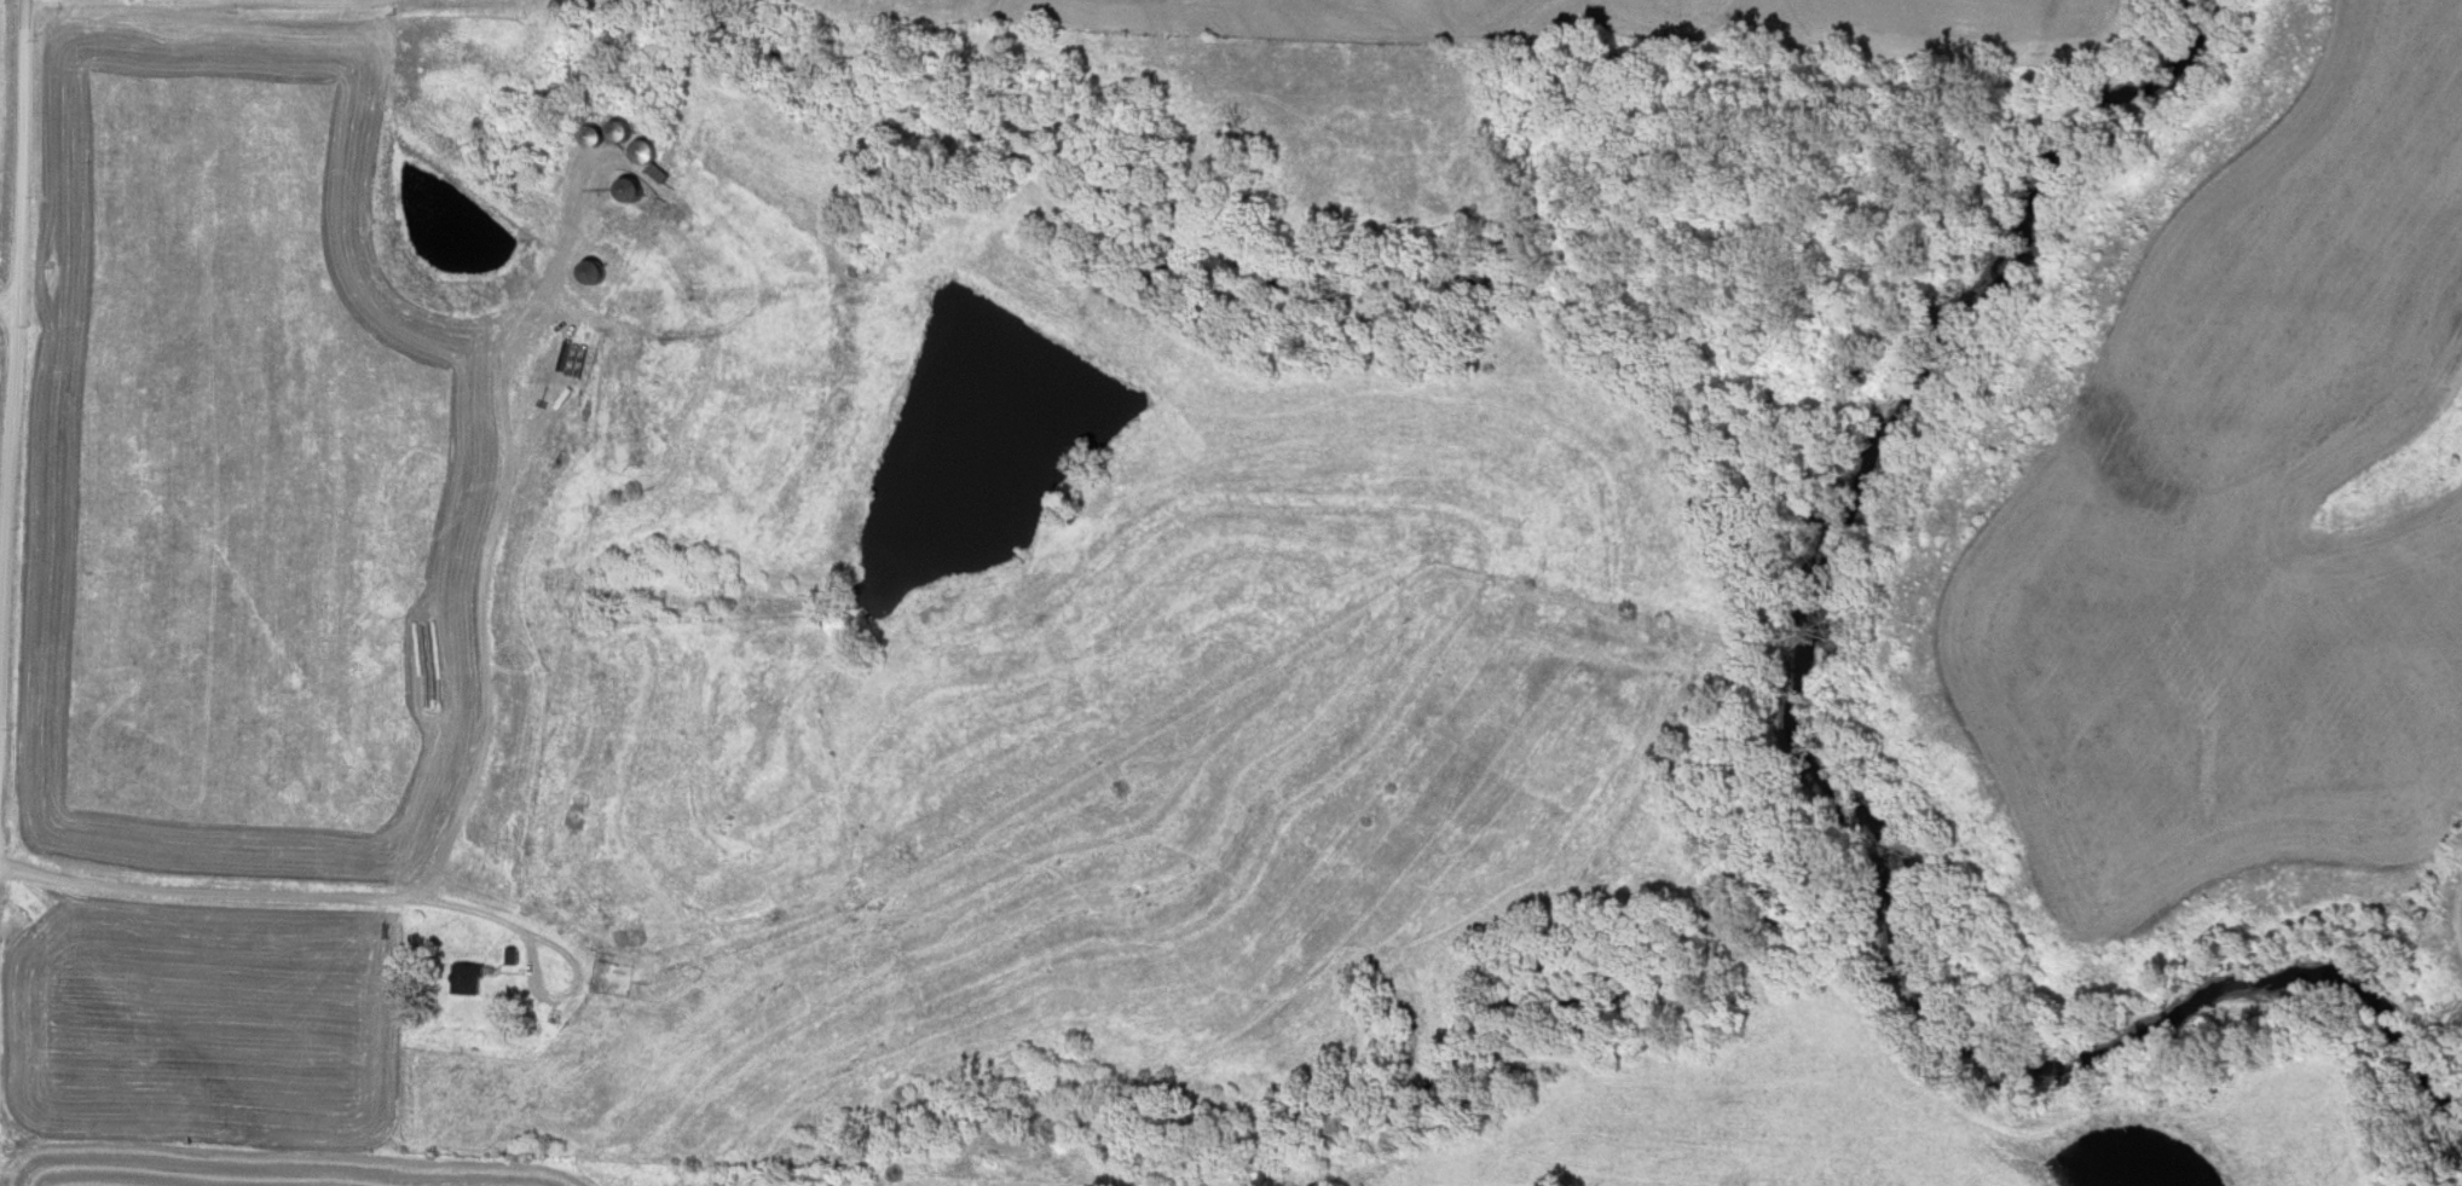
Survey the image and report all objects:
building: (642, 152)
building: (626, 190)
building: (588, 274)
road: (11, 313)
road: (22, 317)
river: (1797, 482)
road: (479, 596)
road: (266, 901)
building: (463, 978)
building: (623, 983)
building: (545, 1037)

